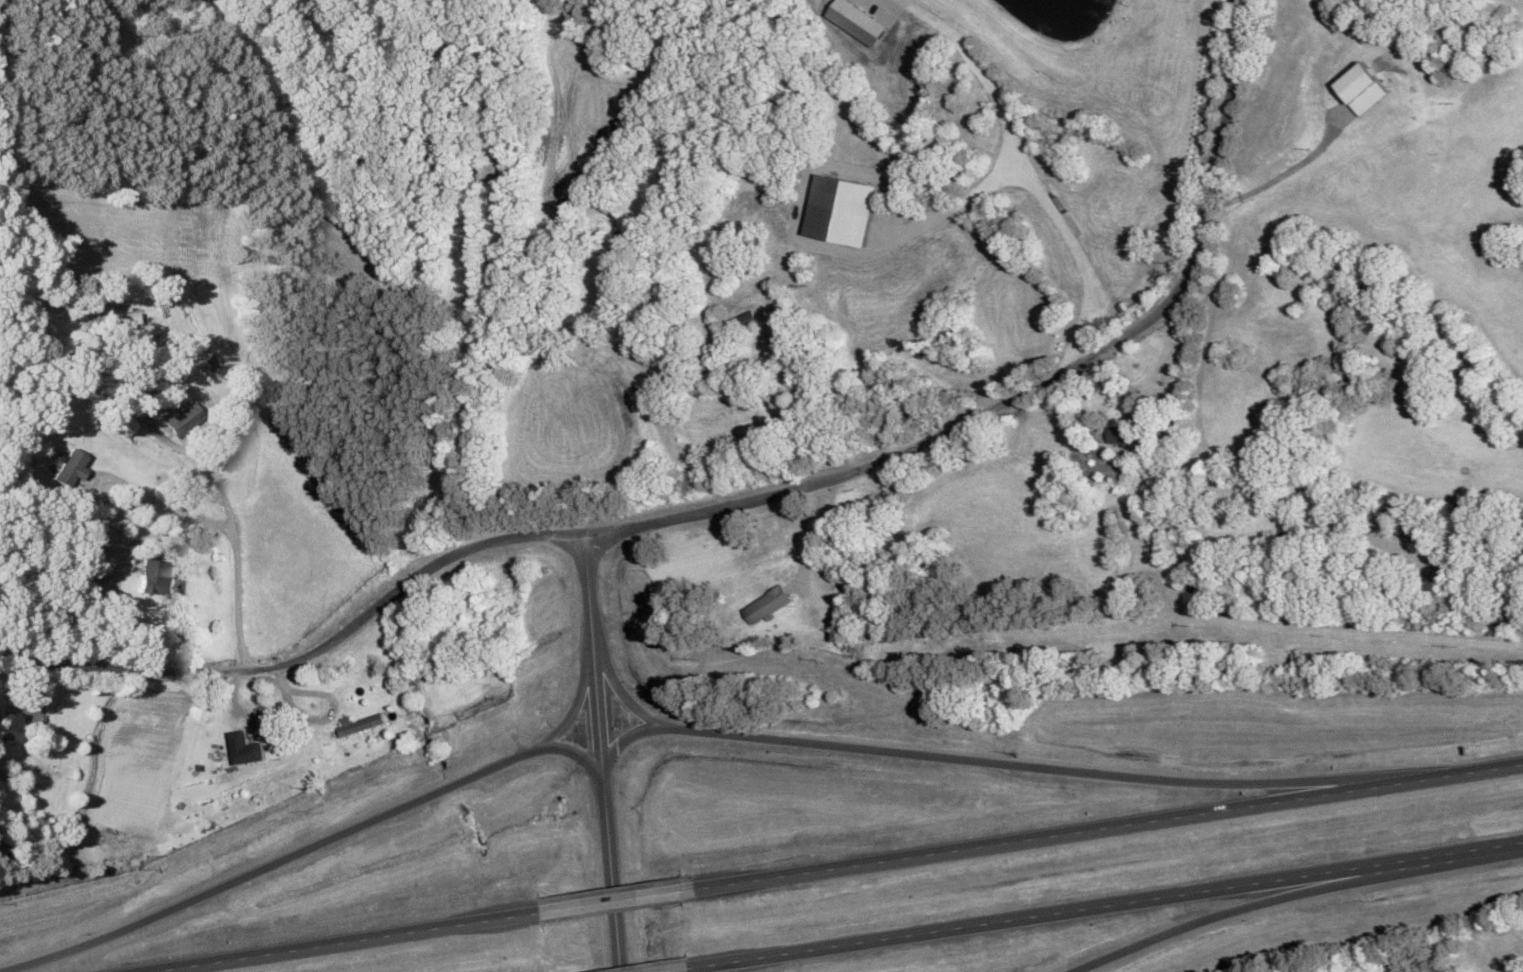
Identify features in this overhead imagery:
building: (956, 204)
building: (1105, 216)
building: (123, 318)
building: (748, 320)
road: (1033, 386)
building: (180, 418)
building: (1123, 434)
building: (68, 468)
building: (94, 543)
road: (238, 556)
building: (87, 574)
building: (154, 579)
building: (769, 604)
road: (307, 654)
road: (594, 657)
road: (620, 688)
road: (579, 696)
building: (11, 722)
building: (362, 725)
building: (246, 749)
road: (994, 762)
building: (53, 771)
building: (11, 773)
road: (1108, 827)
road: (307, 849)
road: (612, 875)
road: (619, 900)
road: (1255, 902)
road: (1108, 904)
road: (344, 942)
road: (688, 971)

